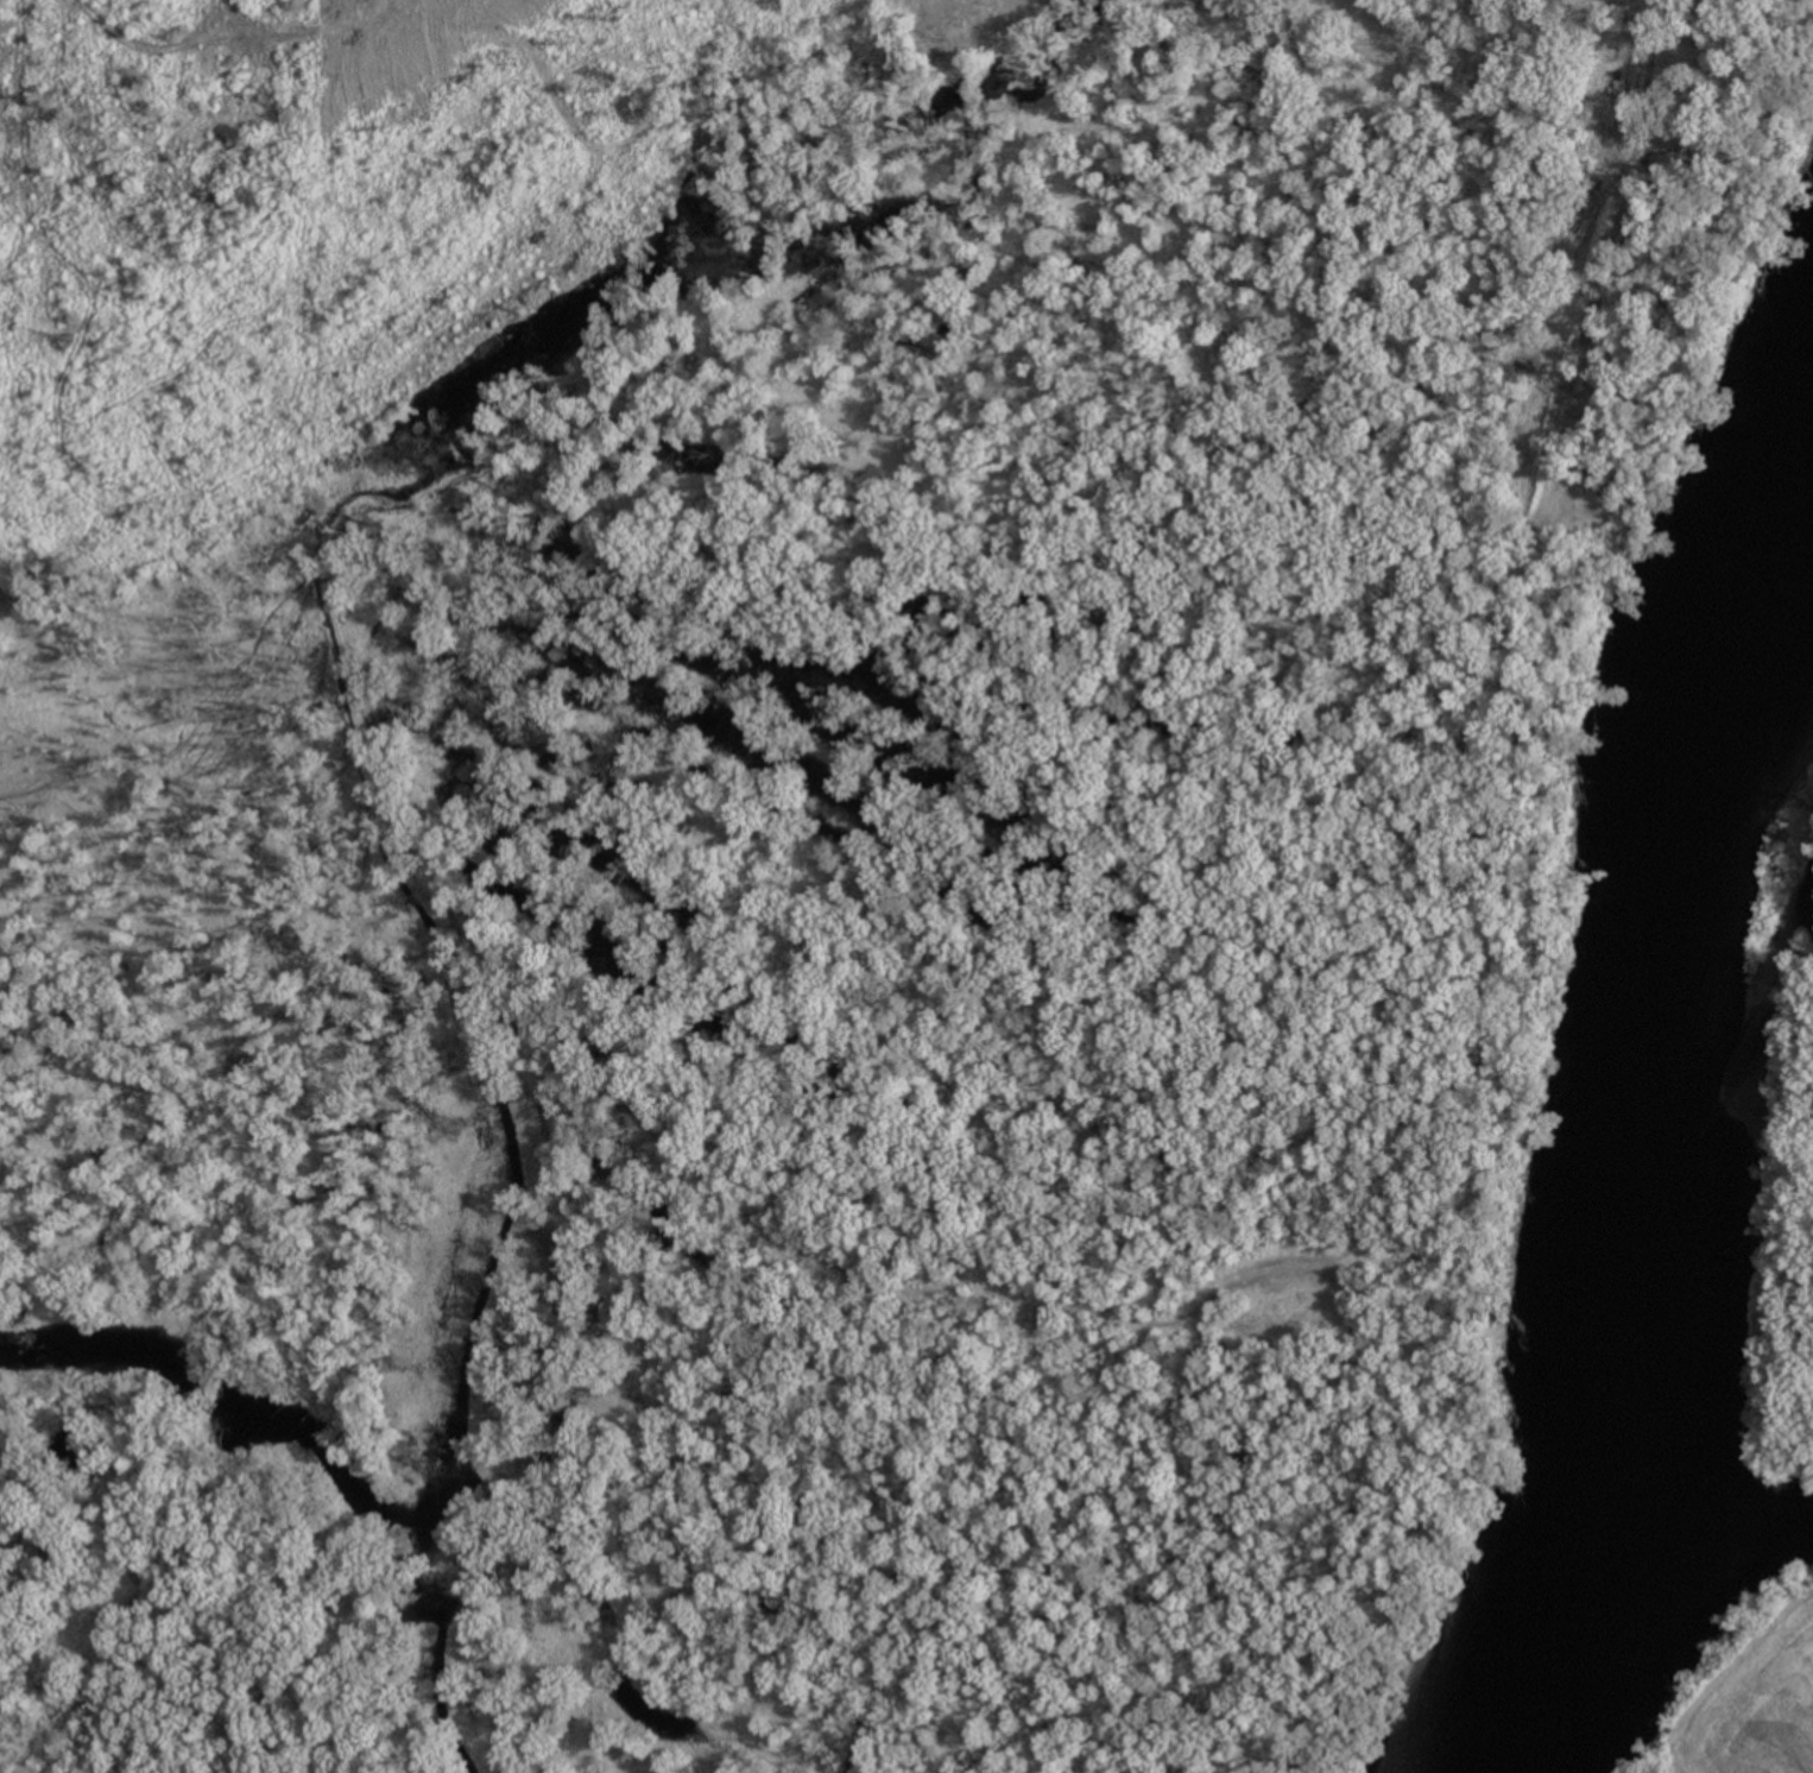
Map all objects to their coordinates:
river: (1681, 1102)

